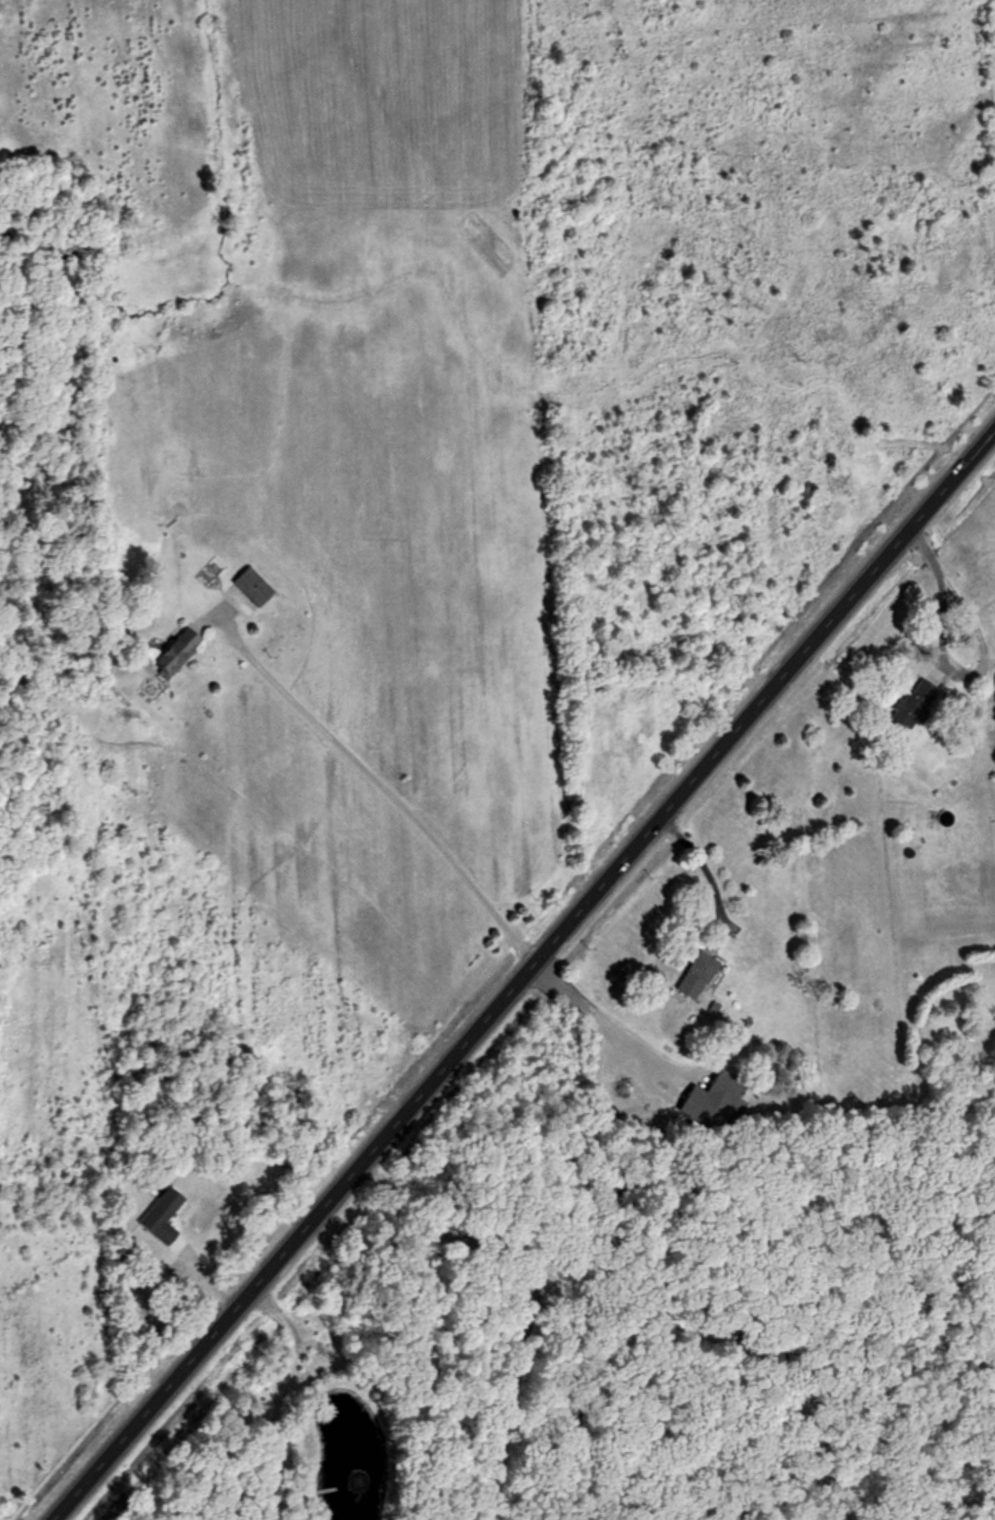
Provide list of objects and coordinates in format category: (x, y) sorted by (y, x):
road: (939, 582)
building: (254, 586)
building: (994, 681)
building: (909, 704)
road: (382, 779)
road: (702, 865)
road: (523, 973)
building: (698, 974)
road: (597, 1020)
building: (165, 1217)
road: (529, 1293)
road: (282, 1397)

